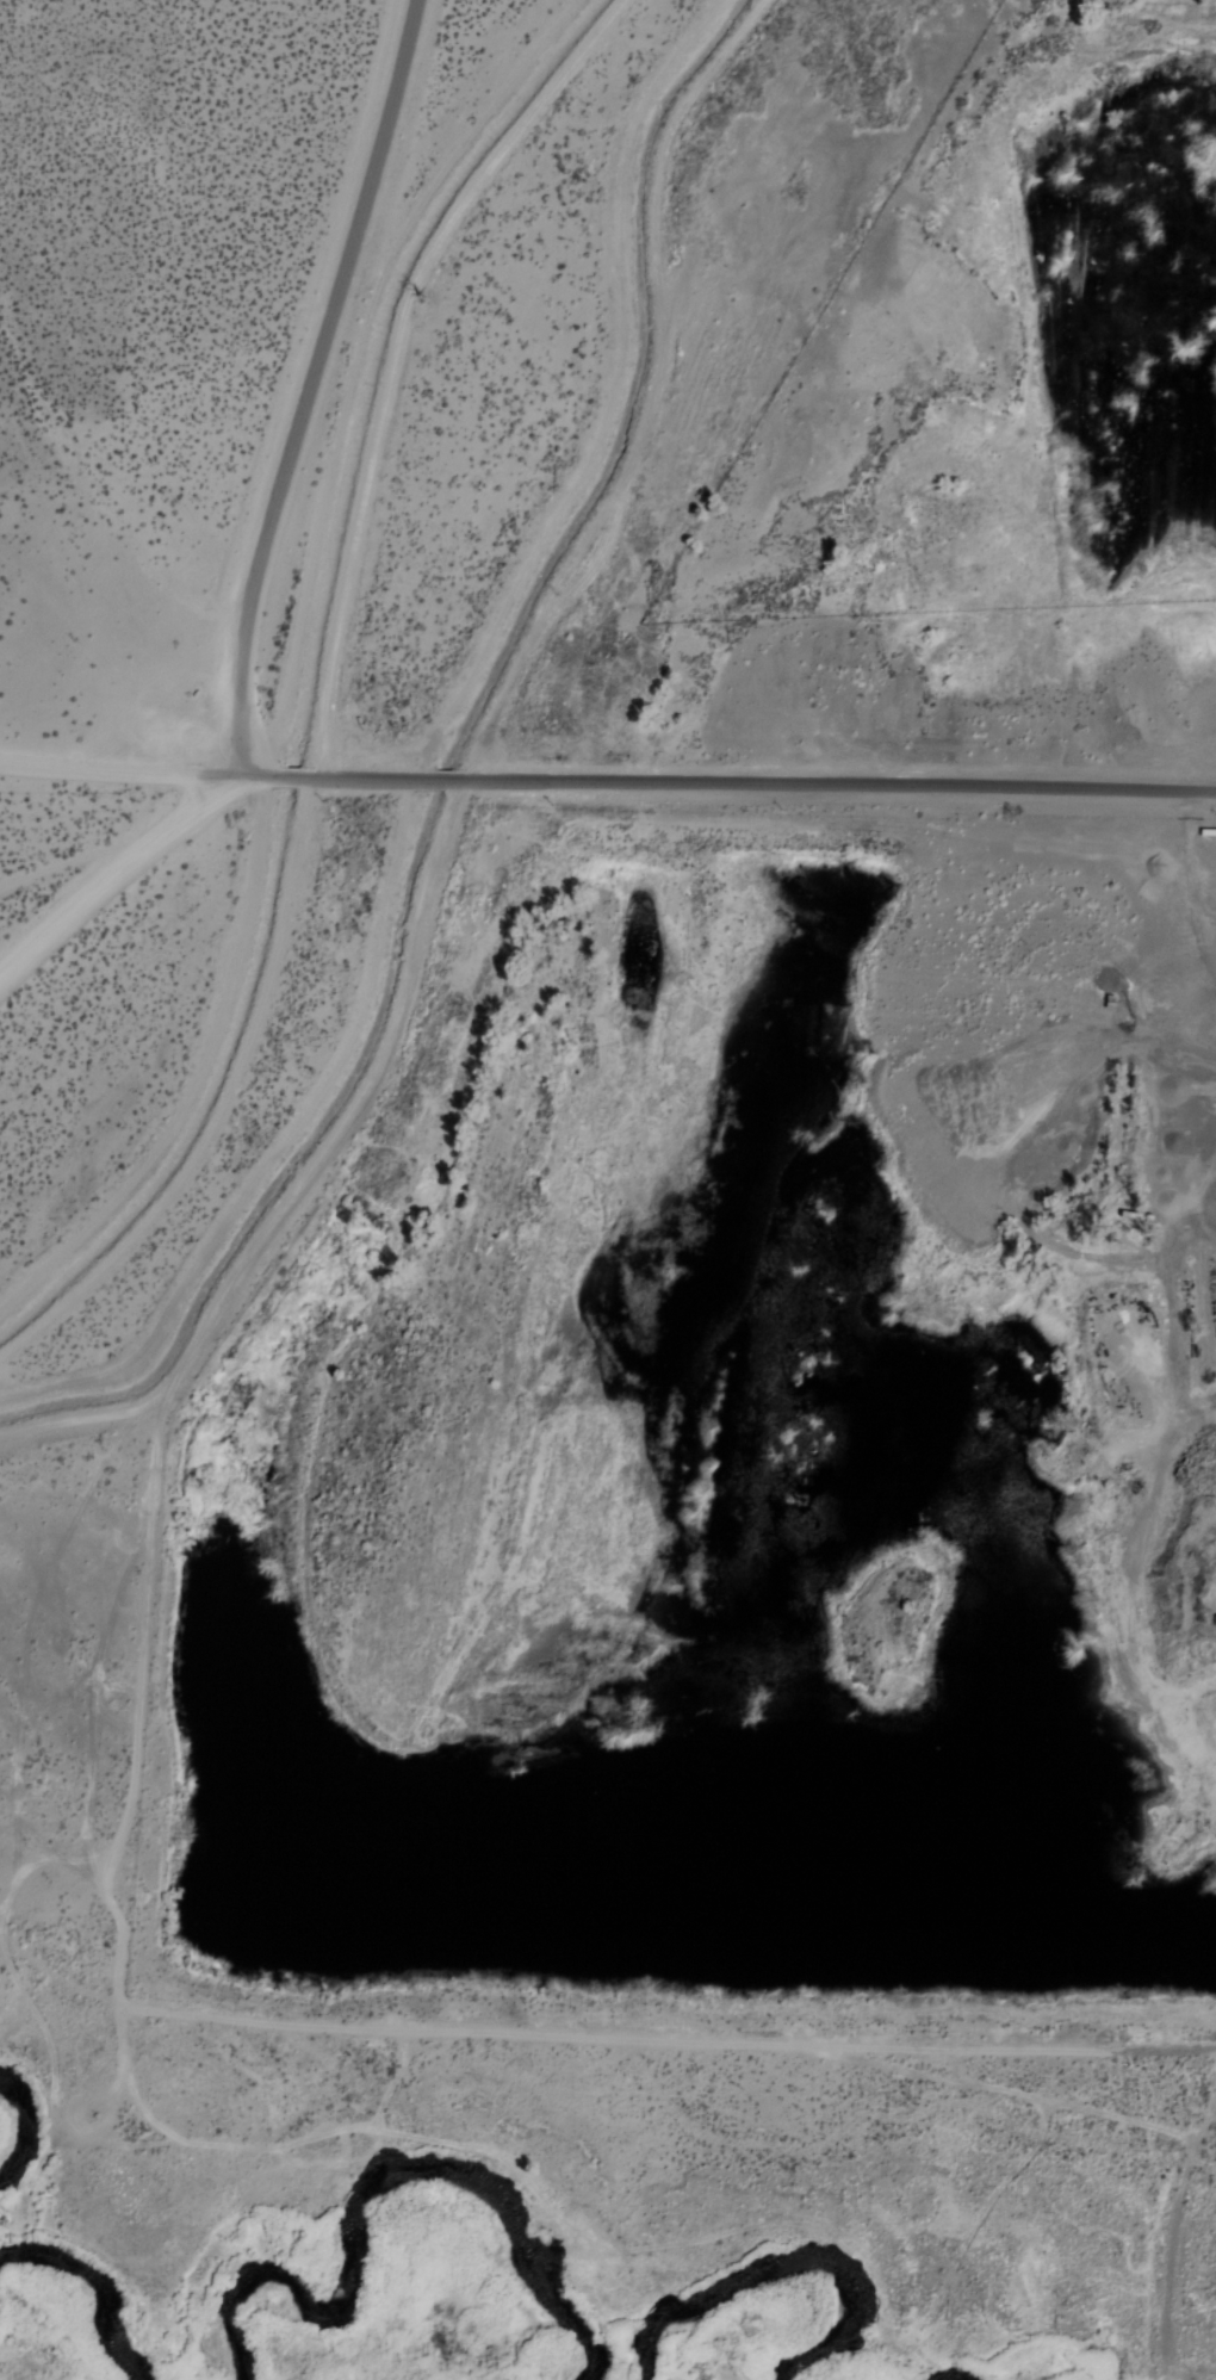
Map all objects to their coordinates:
road: (397, 358)
road: (310, 386)
road: (620, 402)
road: (101, 673)
road: (113, 770)
road: (256, 777)
road: (294, 780)
road: (361, 780)
road: (442, 782)
road: (842, 782)
road: (73, 857)
road: (110, 872)
road: (198, 1078)
road: (309, 1176)
river: (0, 2140)
river: (440, 2226)
river: (751, 2298)
river: (80, 2305)

